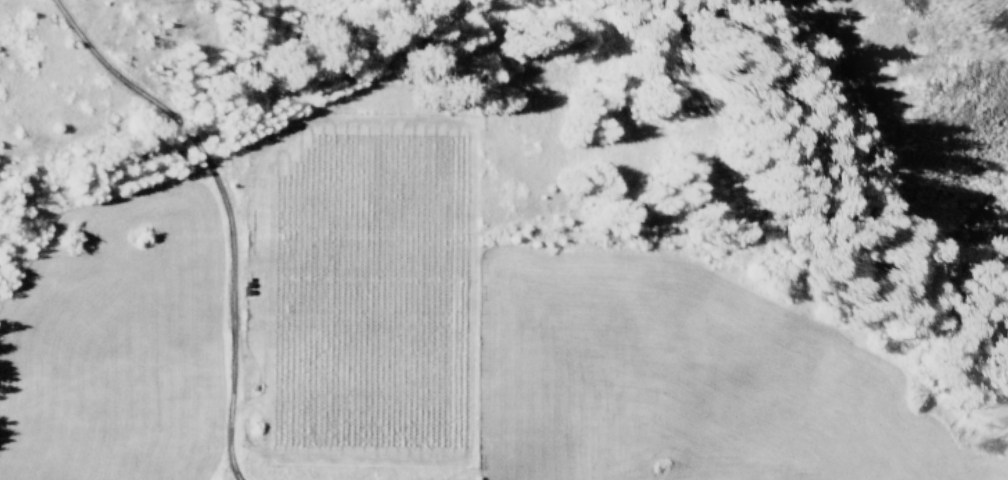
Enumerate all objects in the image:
road: (229, 206)

